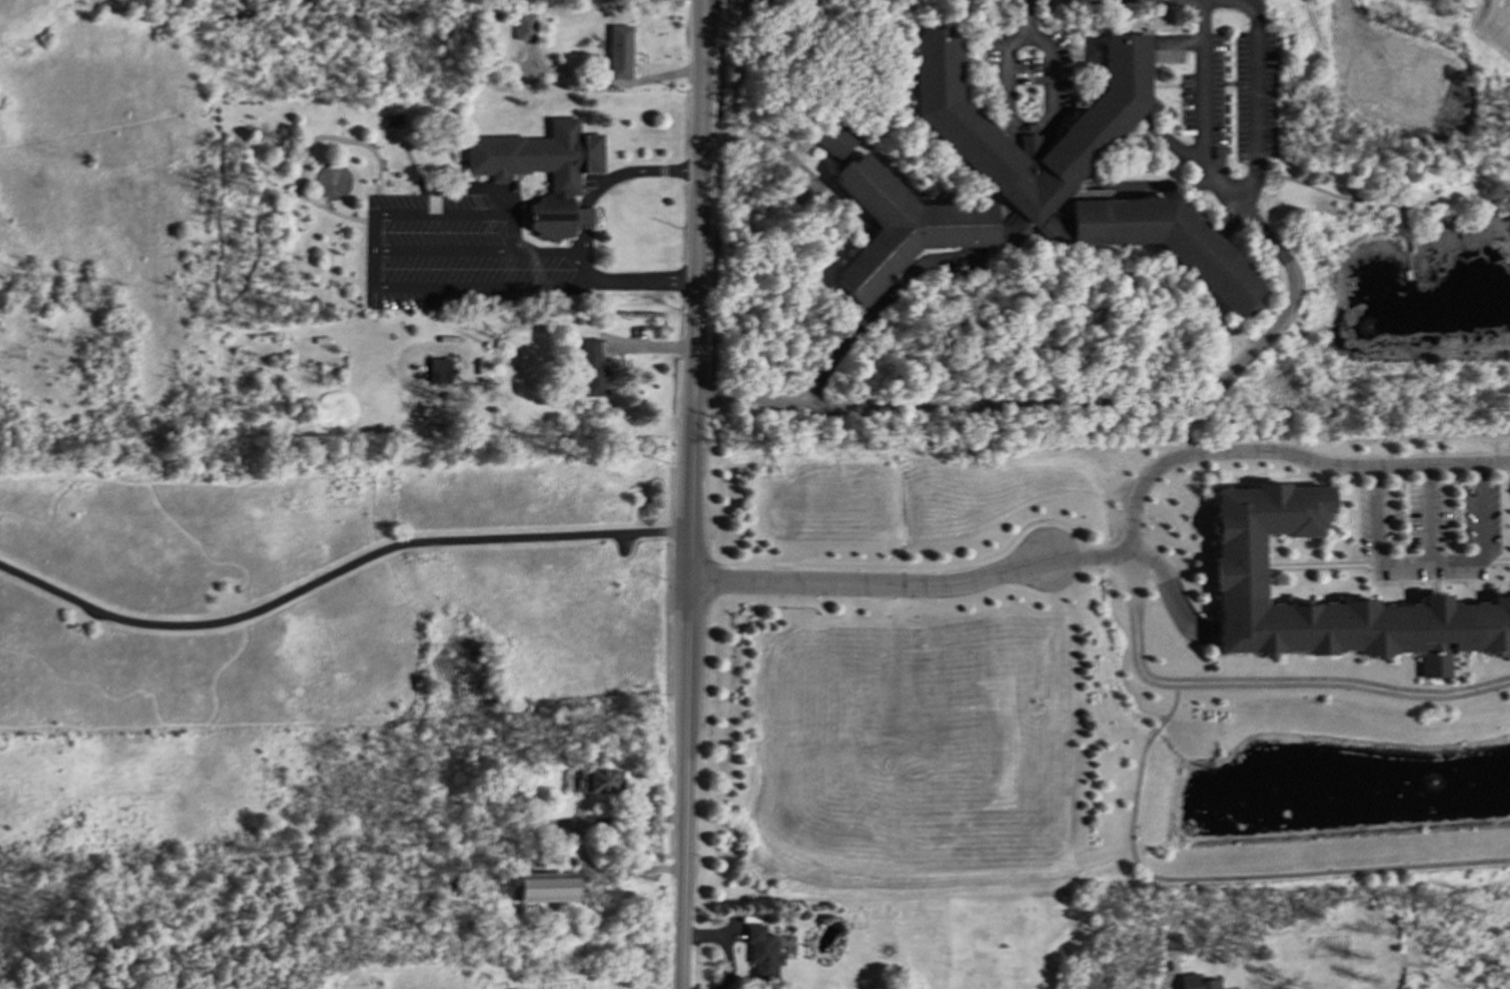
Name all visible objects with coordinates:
road: (1021, 16)
building: (524, 26)
building: (618, 51)
road: (606, 81)
road: (1204, 90)
road: (1254, 100)
road: (1030, 122)
building: (955, 125)
building: (834, 141)
road: (768, 145)
building: (542, 170)
road: (626, 170)
road: (1347, 198)
road: (443, 213)
road: (582, 215)
building: (906, 226)
road: (582, 242)
building: (1166, 242)
road: (1409, 263)
road: (371, 273)
road: (629, 280)
road: (574, 329)
building: (591, 368)
building: (438, 369)
road: (1129, 401)
road: (1246, 449)
road: (689, 494)
road: (1428, 511)
road: (1480, 535)
road: (1378, 537)
building: (1238, 567)
road: (336, 570)
road: (1173, 578)
road: (870, 581)
road: (1283, 678)
road: (1259, 685)
road: (1175, 701)
road: (1156, 729)
building: (597, 780)
road: (577, 843)
road: (1259, 875)
building: (543, 886)
building: (760, 952)
building: (1197, 982)

